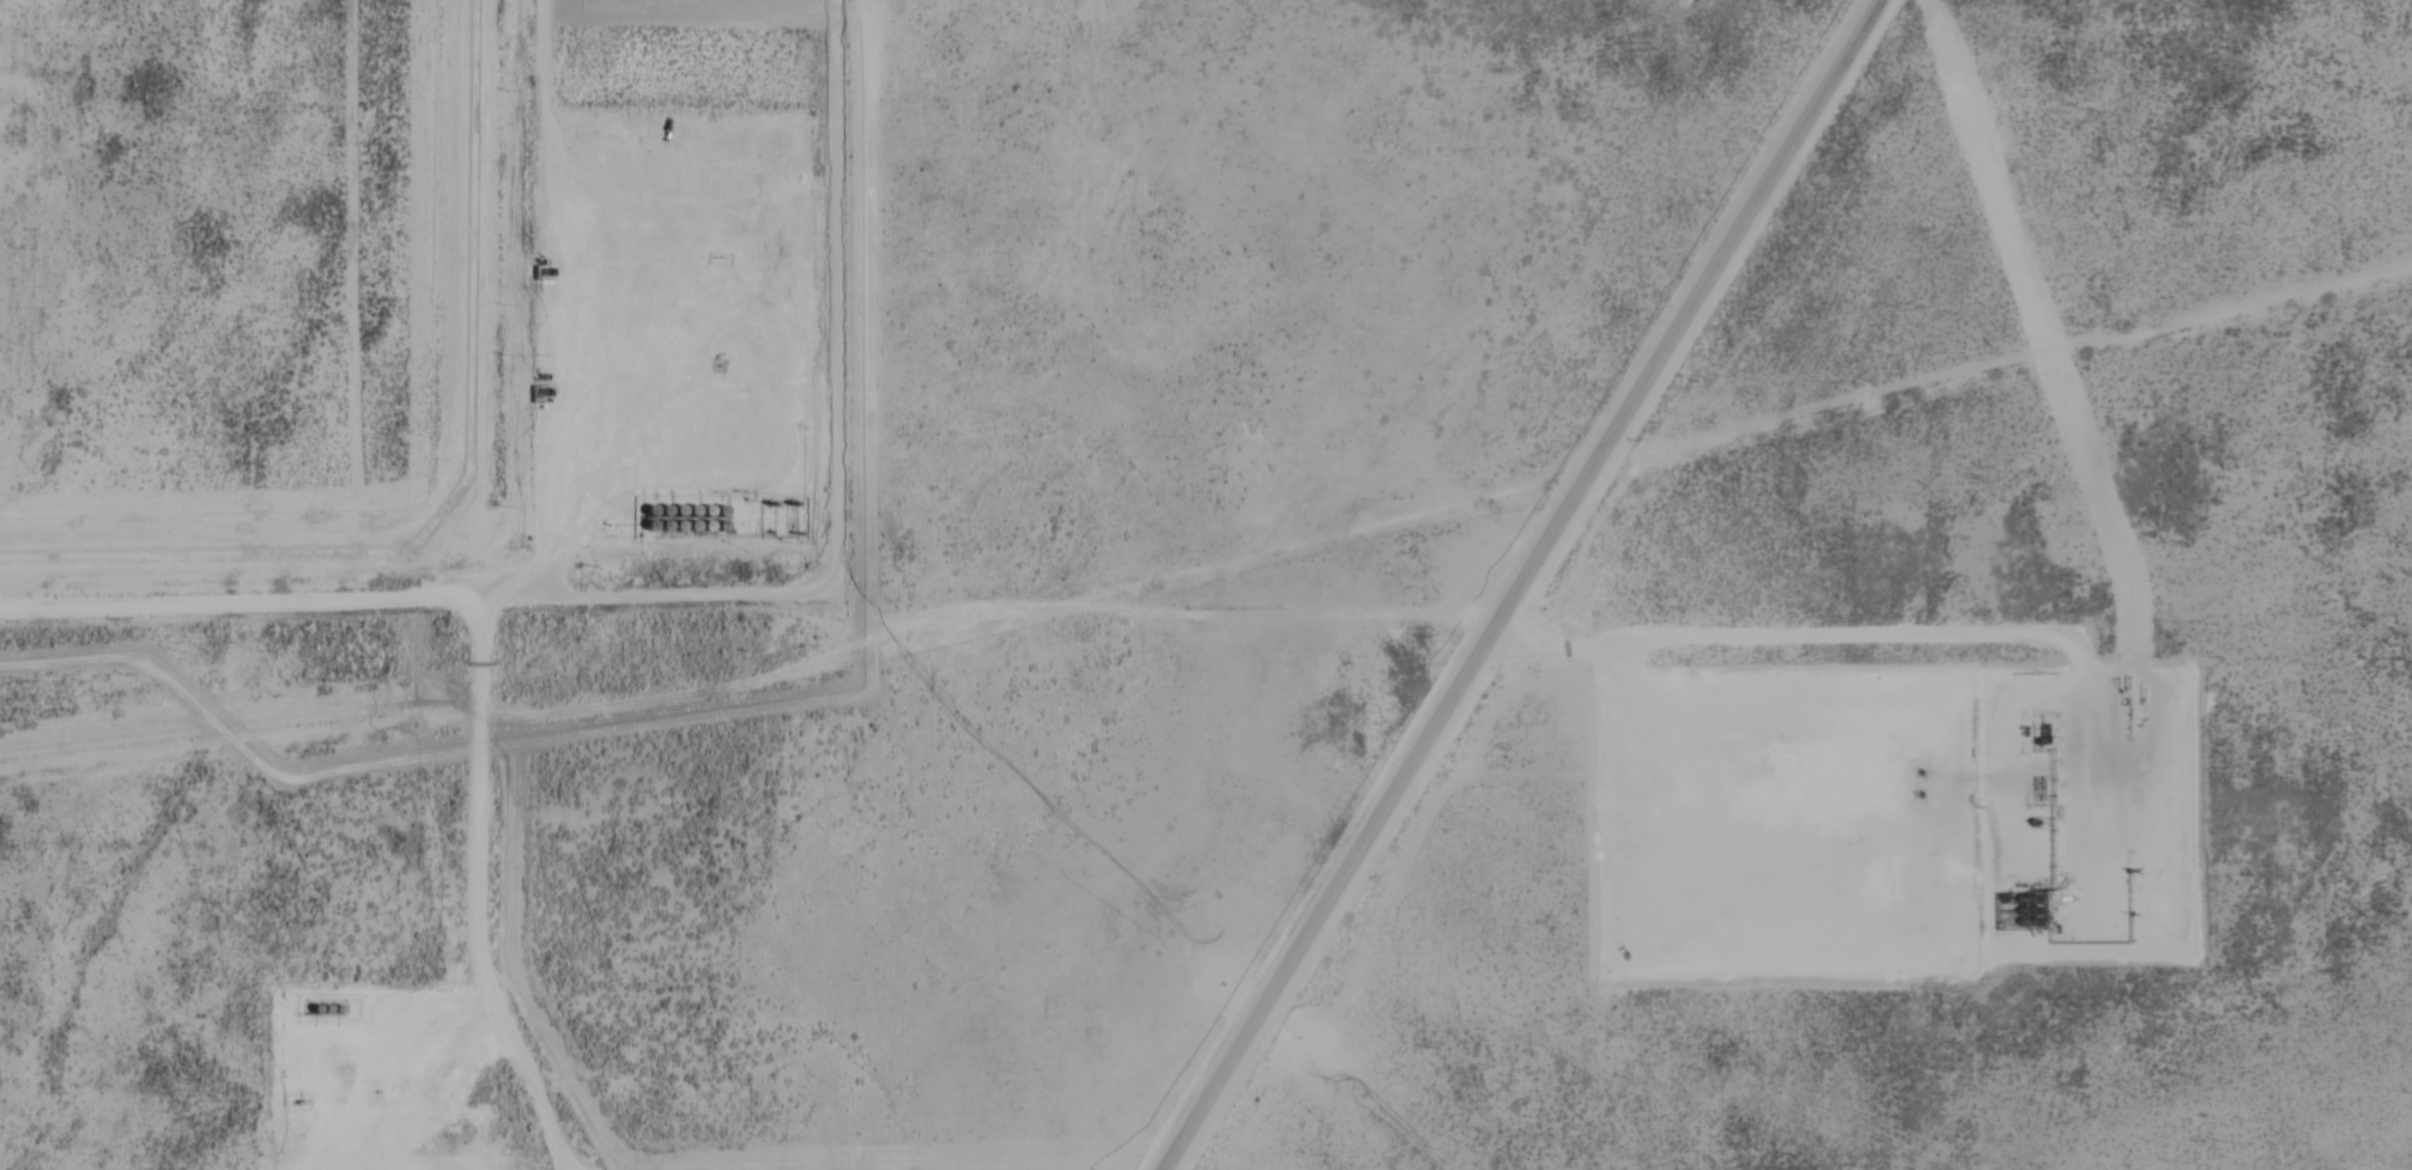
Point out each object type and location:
road: (846, 469)
road: (1541, 584)
road: (246, 605)
road: (486, 716)

